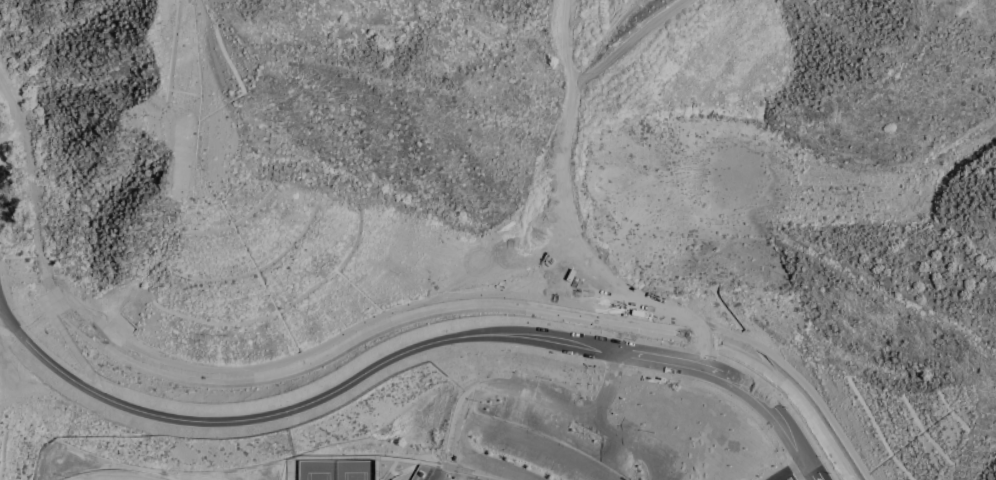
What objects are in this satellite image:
road: (623, 43)
road: (13, 111)
road: (566, 193)
road: (700, 335)
road: (408, 349)
road: (709, 362)
road: (605, 385)
road: (513, 390)
road: (538, 442)
road: (786, 456)
road: (412, 461)
road: (410, 466)
park: (336, 469)
road: (790, 470)
road: (393, 471)
road: (469, 471)
road: (791, 471)
park: (116, 475)

